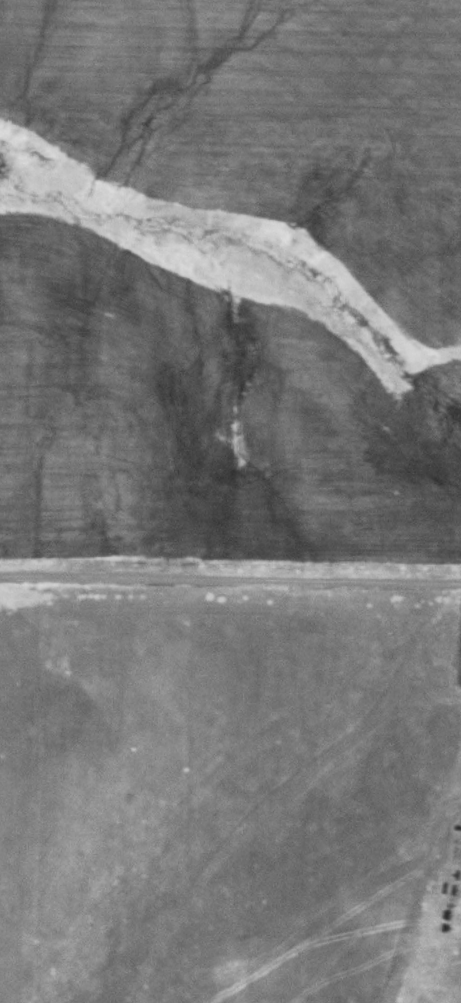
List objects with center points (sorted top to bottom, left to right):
road: (230, 624)

